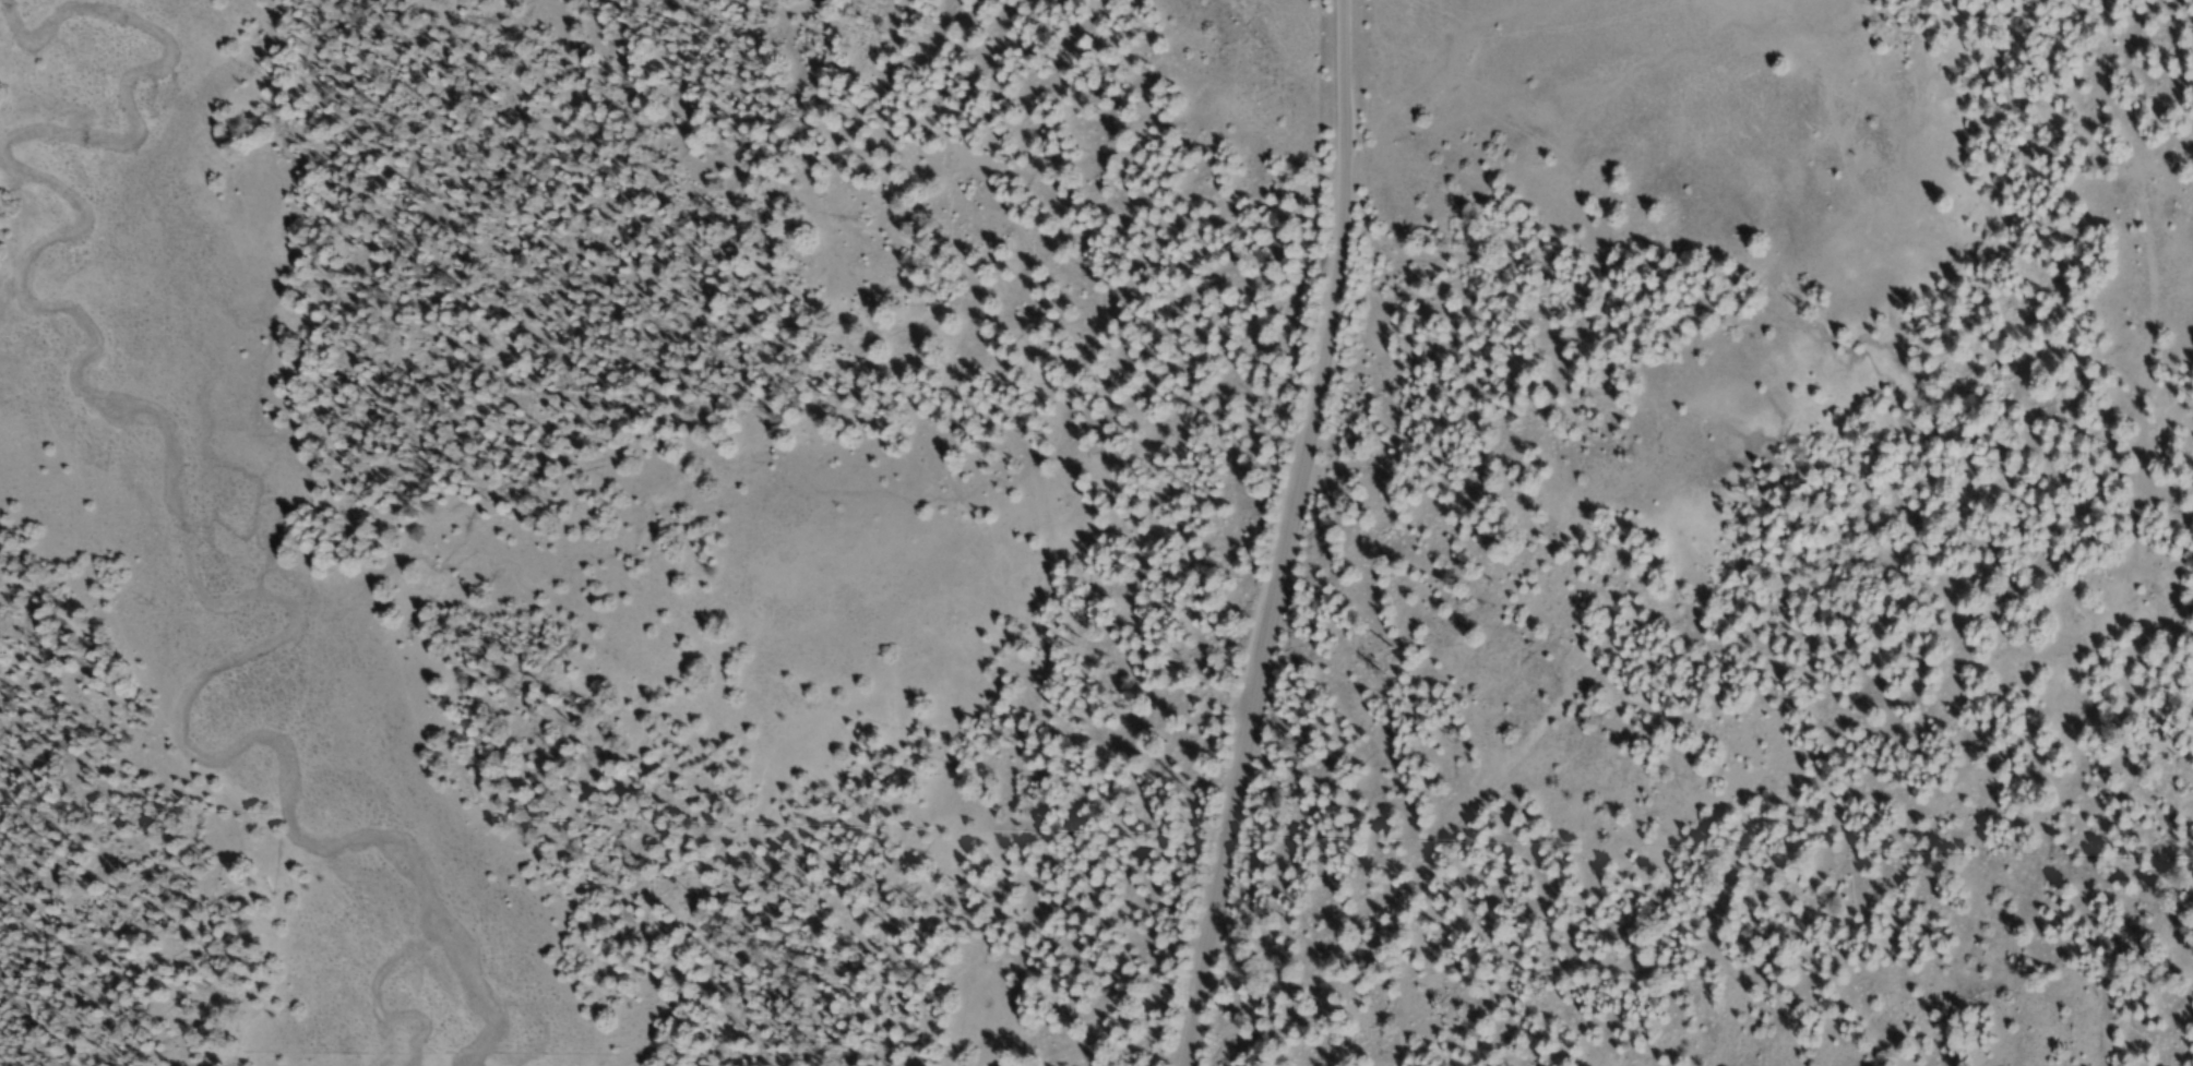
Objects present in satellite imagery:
road: (1287, 536)
road: (1211, 1050)

